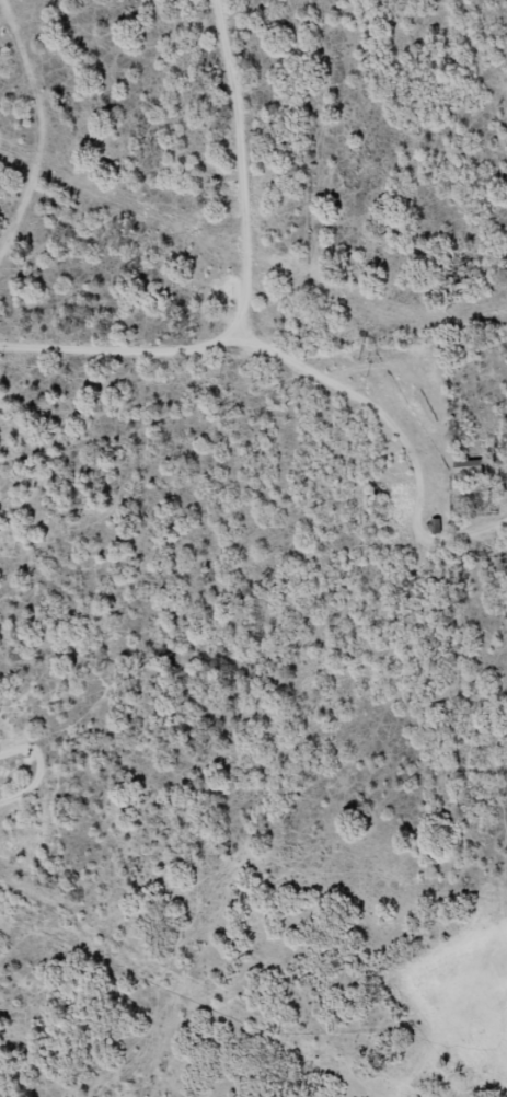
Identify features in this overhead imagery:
building: (469, 469)

